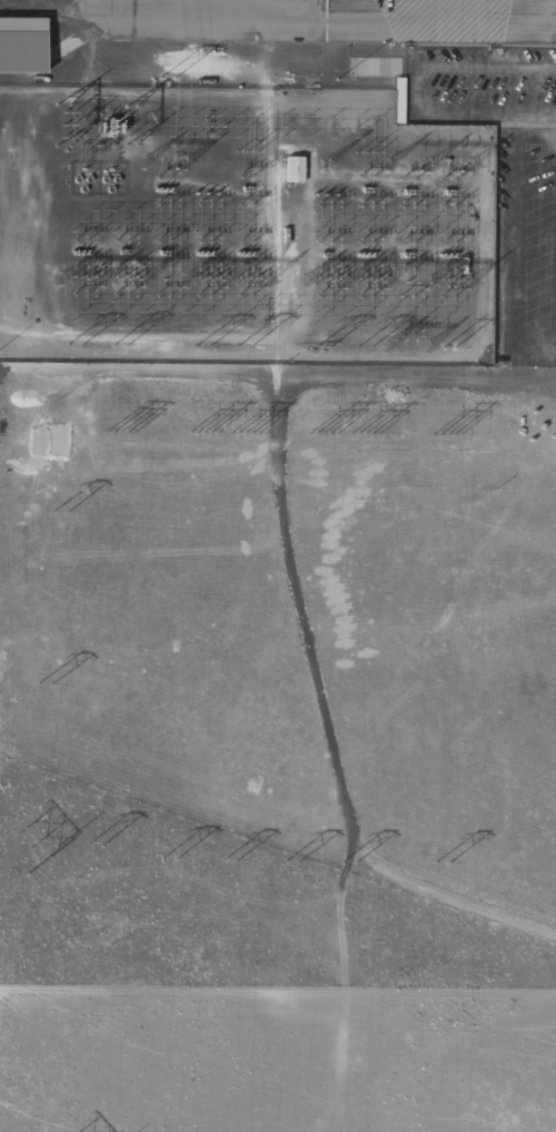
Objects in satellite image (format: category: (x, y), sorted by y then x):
building: (21, 52)
road: (414, 93)
building: (294, 170)
parking lot: (505, 178)
power plant: (242, 181)
power substation: (239, 226)
road: (515, 239)
power tower: (75, 344)
power tower: (120, 344)
power tower: (201, 344)
power tower: (322, 344)
power tower: (244, 345)
power tower: (365, 345)
power tower: (448, 347)
power tower: (120, 432)
power tower: (200, 432)
power tower: (244, 433)
power tower: (325, 433)
power tower: (364, 433)
power tower: (447, 433)
power tower: (61, 512)
power tower: (46, 682)
power tower: (95, 839)
power tower: (29, 841)
power tower: (167, 852)
power tower: (226, 854)
power tower: (289, 857)
power tower: (349, 857)
power tower: (446, 857)

